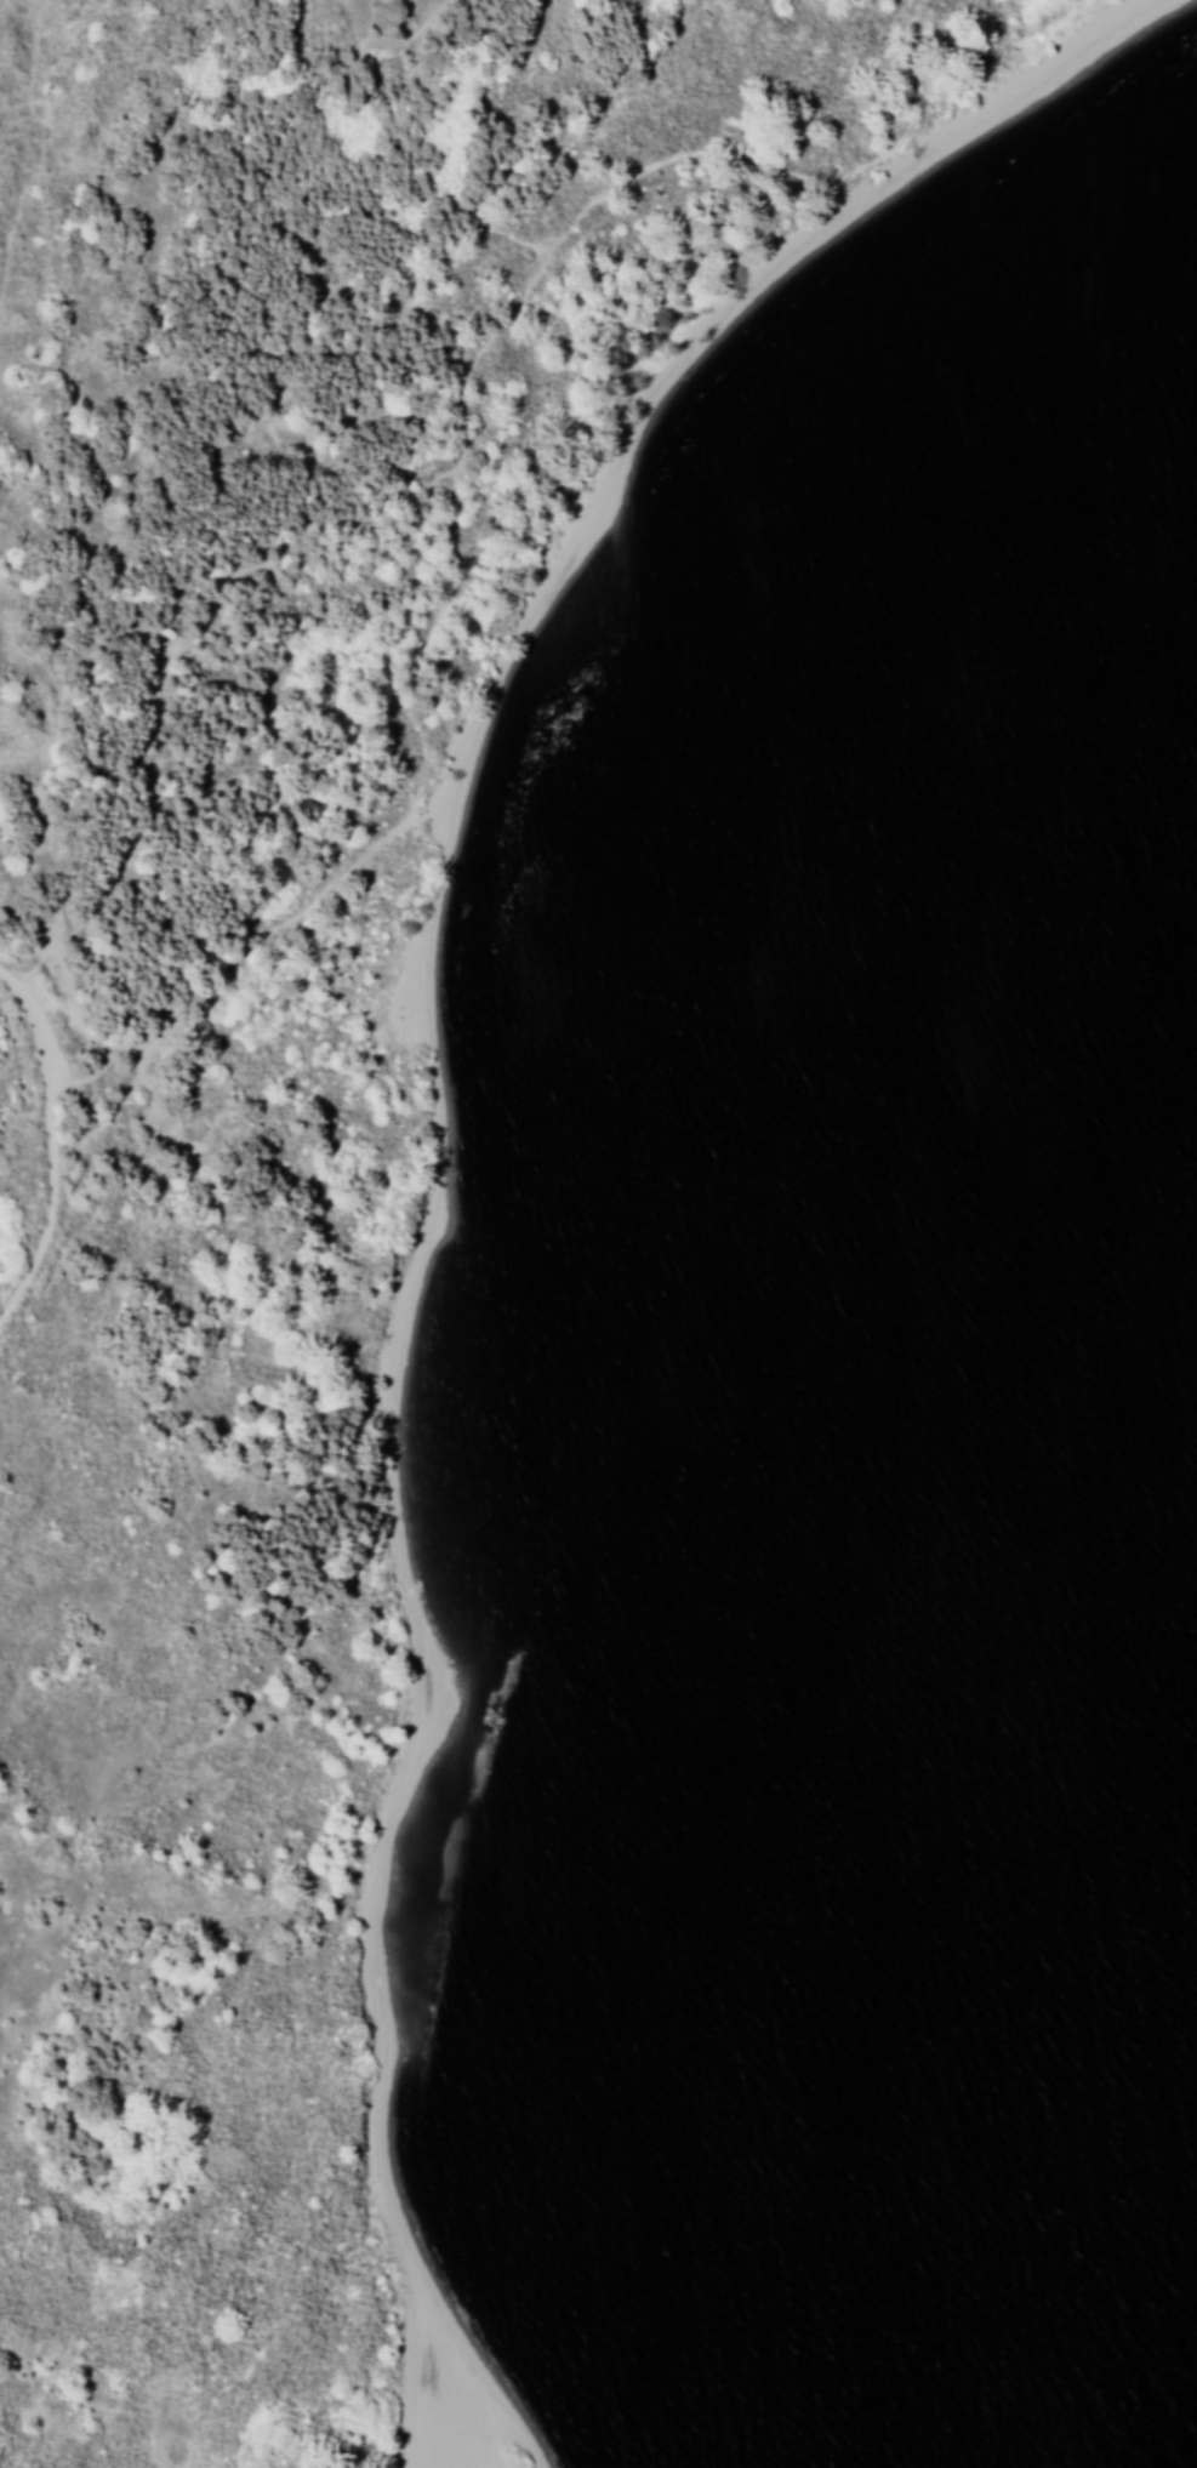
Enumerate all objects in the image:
road: (645, 165)
road: (221, 576)
road: (359, 855)
road: (74, 1025)
road: (25, 1146)

